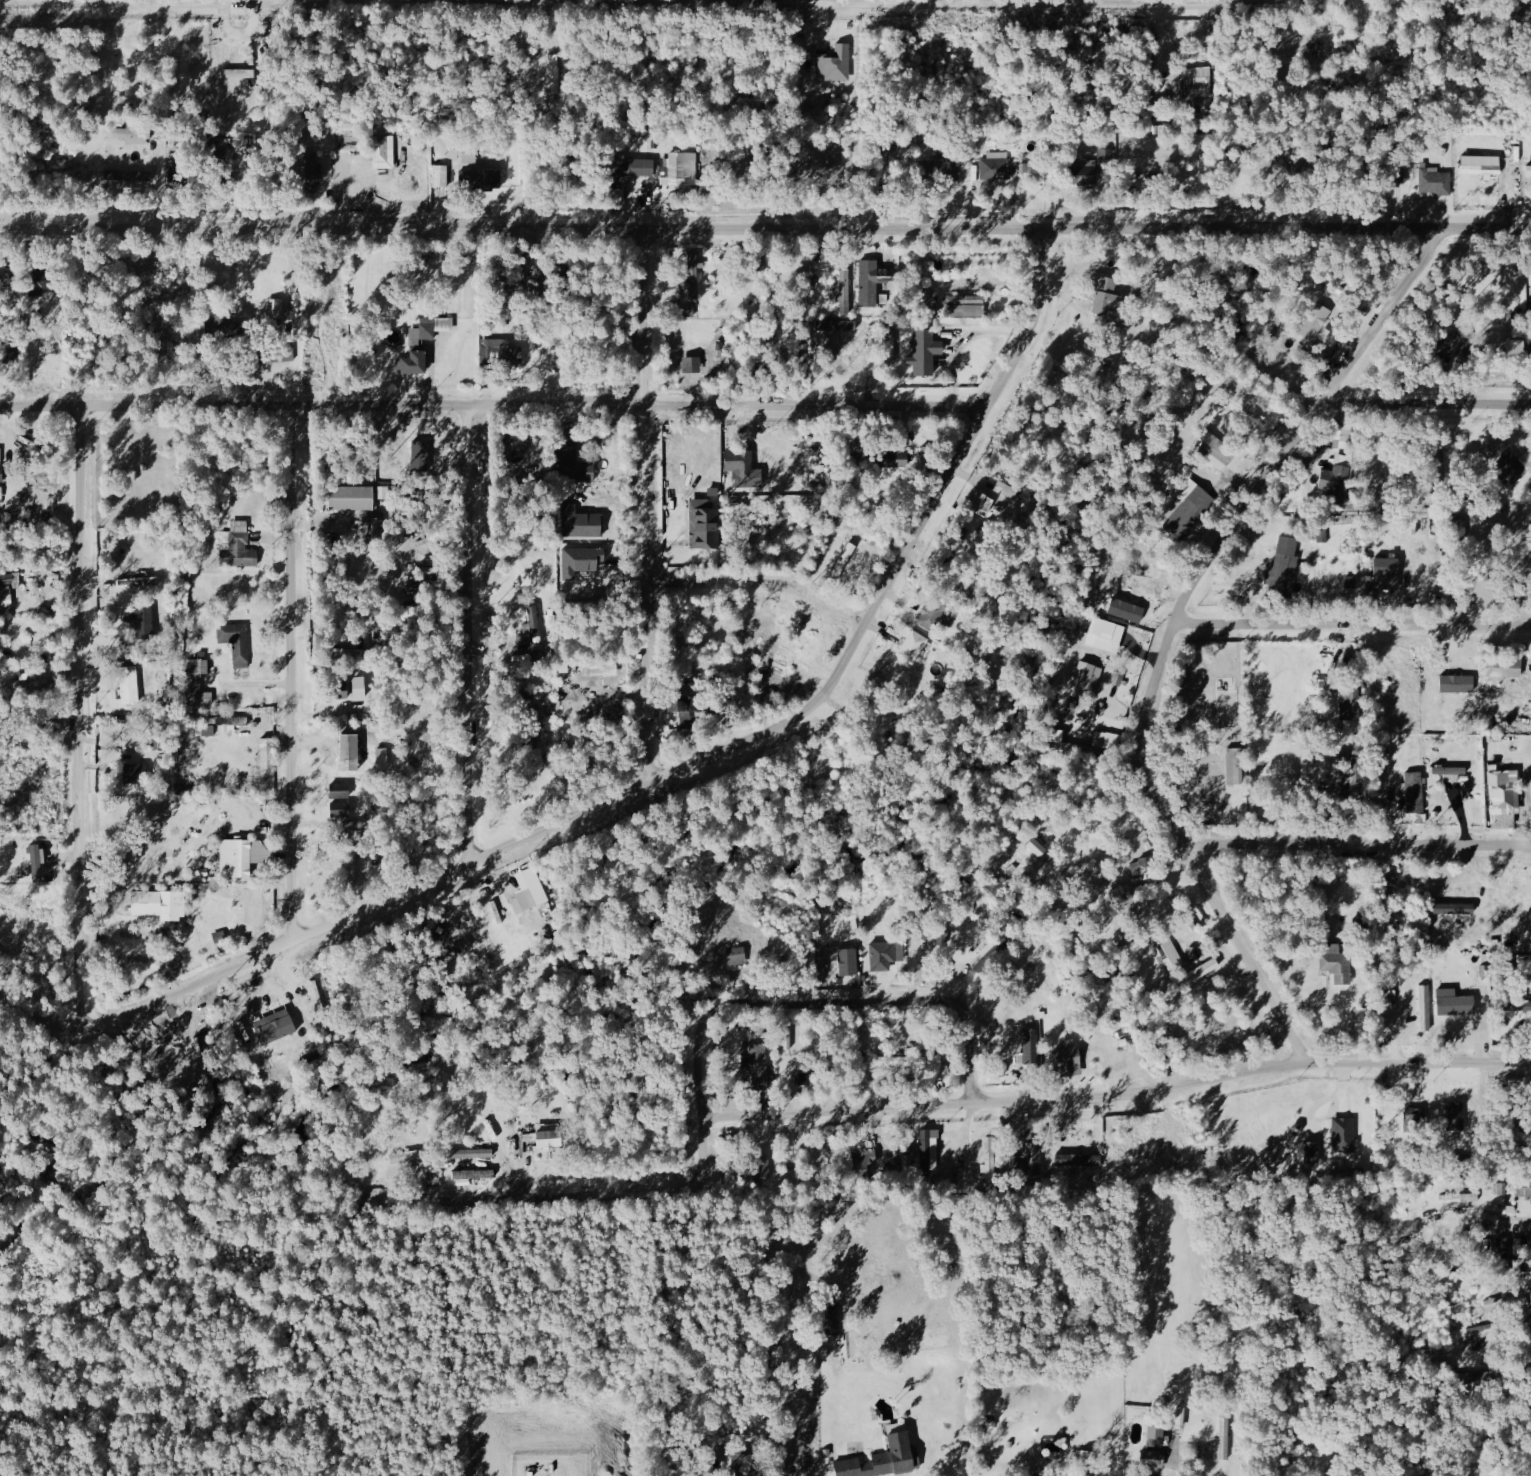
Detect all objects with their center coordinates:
road: (261, 0)
road: (1073, 0)
road: (532, 1)
road: (802, 2)
road: (628, 3)
building: (837, 63)
building: (555, 74)
building: (1195, 85)
building: (128, 133)
building: (384, 152)
building: (943, 166)
building: (995, 167)
building: (680, 169)
building: (1086, 170)
building: (1529, 171)
building: (312, 174)
building: (1400, 175)
building: (440, 177)
building: (484, 180)
building: (1435, 181)
road: (765, 229)
building: (758, 264)
building: (692, 277)
building: (37, 284)
building: (7, 286)
building: (845, 292)
building: (1103, 295)
building: (966, 306)
building: (274, 309)
building: (689, 311)
building: (1316, 322)
building: (223, 327)
building: (430, 329)
road: (962, 338)
building: (890, 344)
building: (1452, 345)
building: (499, 350)
building: (924, 352)
building: (804, 356)
building: (412, 363)
building: (691, 365)
road: (1427, 401)
road: (493, 404)
building: (1212, 452)
building: (894, 459)
building: (1509, 466)
building: (573, 468)
building: (746, 472)
building: (1337, 473)
building: (1, 474)
building: (1, 493)
building: (350, 498)
road: (645, 507)
building: (1188, 510)
building: (580, 523)
building: (703, 524)
building: (1459, 529)
building: (237, 546)
building: (583, 560)
building: (843, 561)
building: (1284, 565)
building: (1388, 571)
road: (763, 581)
building: (138, 582)
building: (6, 590)
building: (934, 616)
building: (134, 624)
road: (1353, 624)
building: (531, 628)
road: (1175, 628)
building: (1106, 631)
road: (467, 633)
building: (236, 642)
building: (914, 648)
building: (600, 670)
road: (292, 674)
building: (1118, 679)
building: (1085, 680)
building: (1510, 680)
building: (27, 683)
building: (198, 683)
building: (1457, 684)
building: (129, 685)
building: (358, 689)
building: (338, 692)
building: (1071, 705)
building: (1350, 706)
building: (531, 708)
road: (80, 718)
building: (223, 726)
building: (1112, 741)
building: (1067, 745)
building: (348, 753)
building: (267, 754)
building: (382, 759)
building: (1234, 767)
building: (1353, 769)
building: (1450, 773)
building: (135, 774)
road: (655, 779)
building: (1412, 792)
building: (1504, 792)
building: (339, 800)
building: (352, 830)
road: (1358, 843)
building: (243, 855)
building: (352, 864)
building: (528, 890)
building: (244, 894)
building: (1123, 899)
building: (156, 904)
building: (941, 936)
building: (882, 956)
building: (848, 962)
building: (1336, 963)
building: (1454, 1004)
building: (1425, 1007)
building: (1518, 1008)
road: (708, 1013)
building: (275, 1029)
building: (1029, 1045)
building: (1068, 1058)
building: (903, 1061)
building: (755, 1065)
road: (1119, 1097)
building: (1455, 1117)
building: (1344, 1135)
building: (549, 1137)
building: (929, 1150)
building: (1311, 1152)
building: (470, 1153)
building: (1031, 1153)
building: (405, 1157)
building: (990, 1160)
building: (763, 1167)
building: (473, 1174)
building: (1523, 1187)
building: (1503, 1189)
building: (1459, 1198)
building: (1529, 1243)
building: (1502, 1249)
building: (830, 1323)
building: (1156, 1436)
building: (1152, 1458)
building: (882, 1459)
building: (739, 1464)
road: (1186, 1467)

